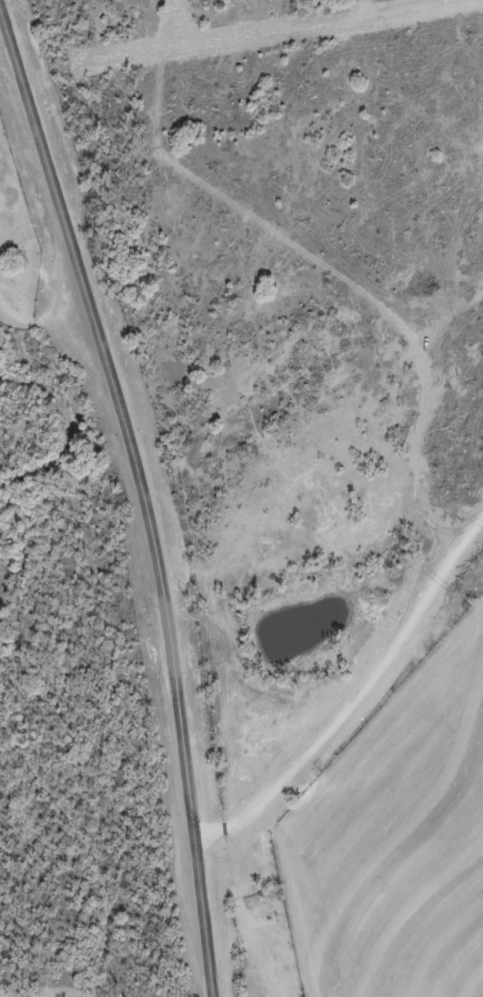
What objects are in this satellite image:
road: (144, 499)
road: (353, 698)

